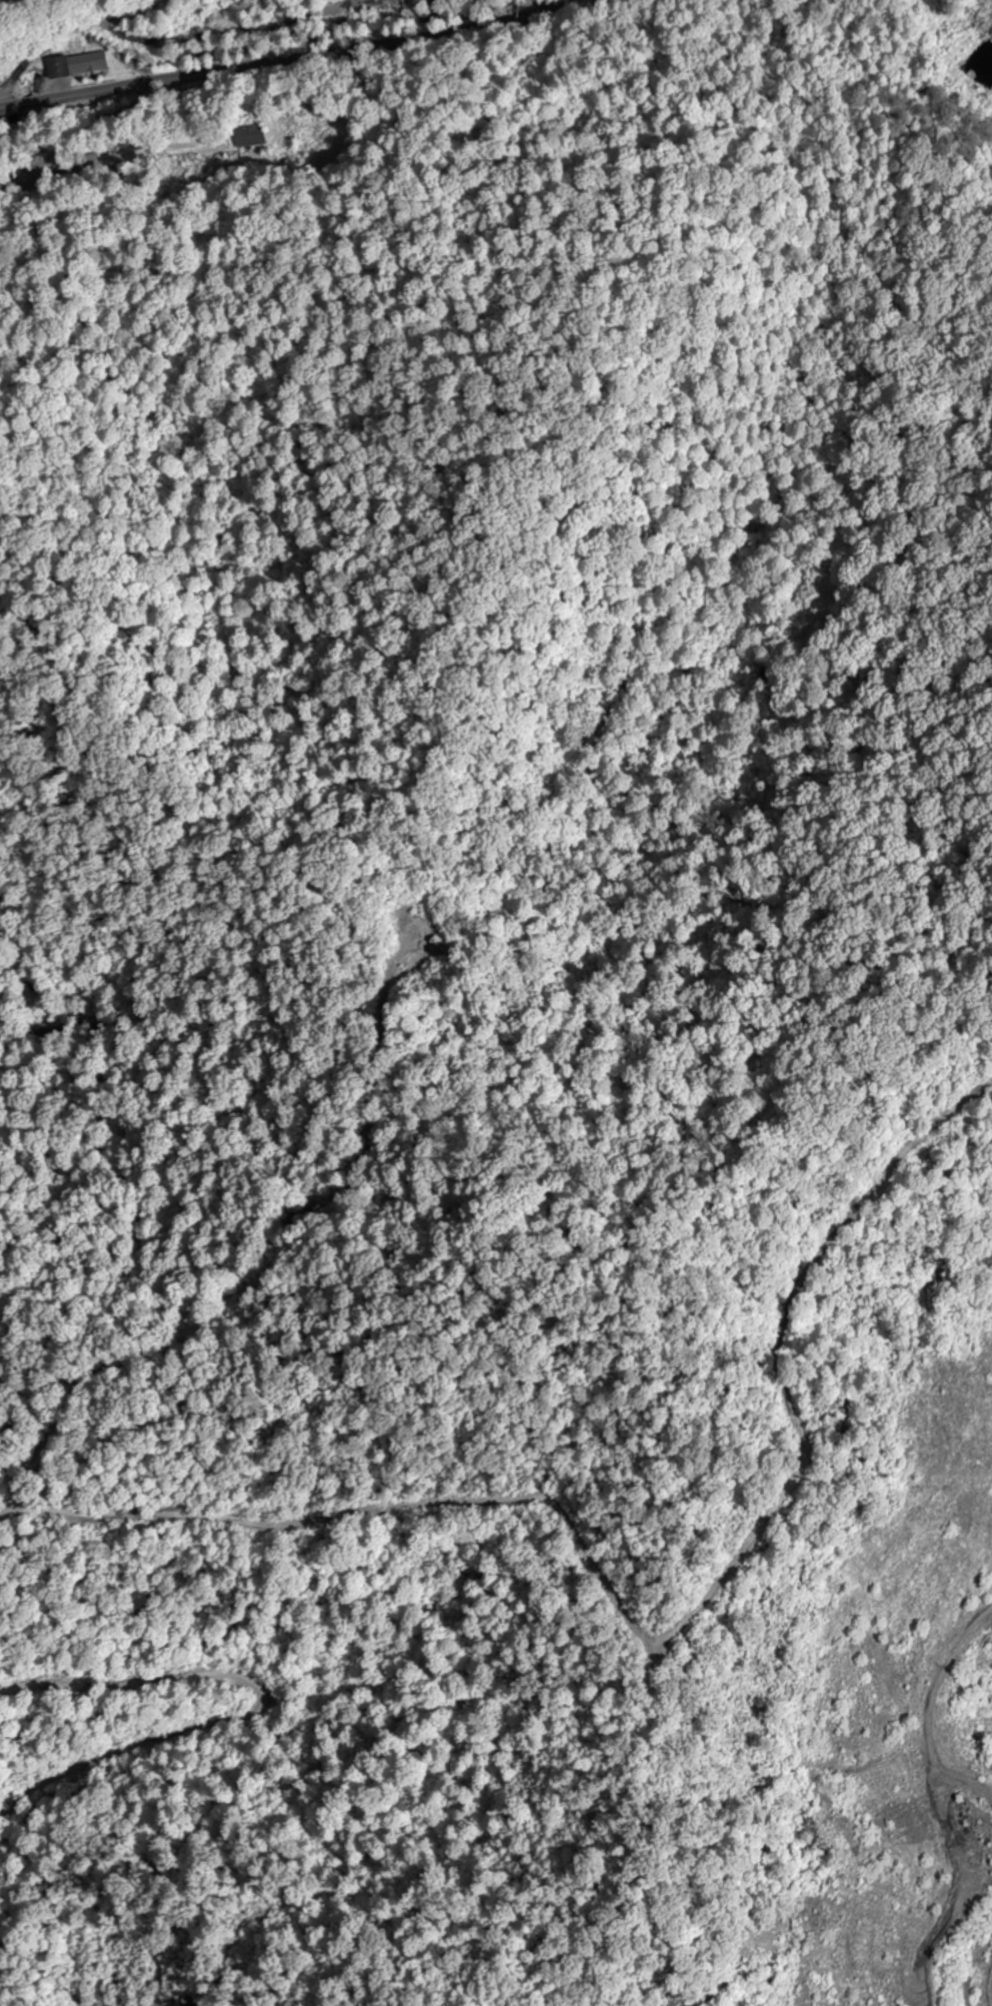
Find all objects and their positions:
road: (292, 61)
building: (77, 65)
building: (253, 138)

